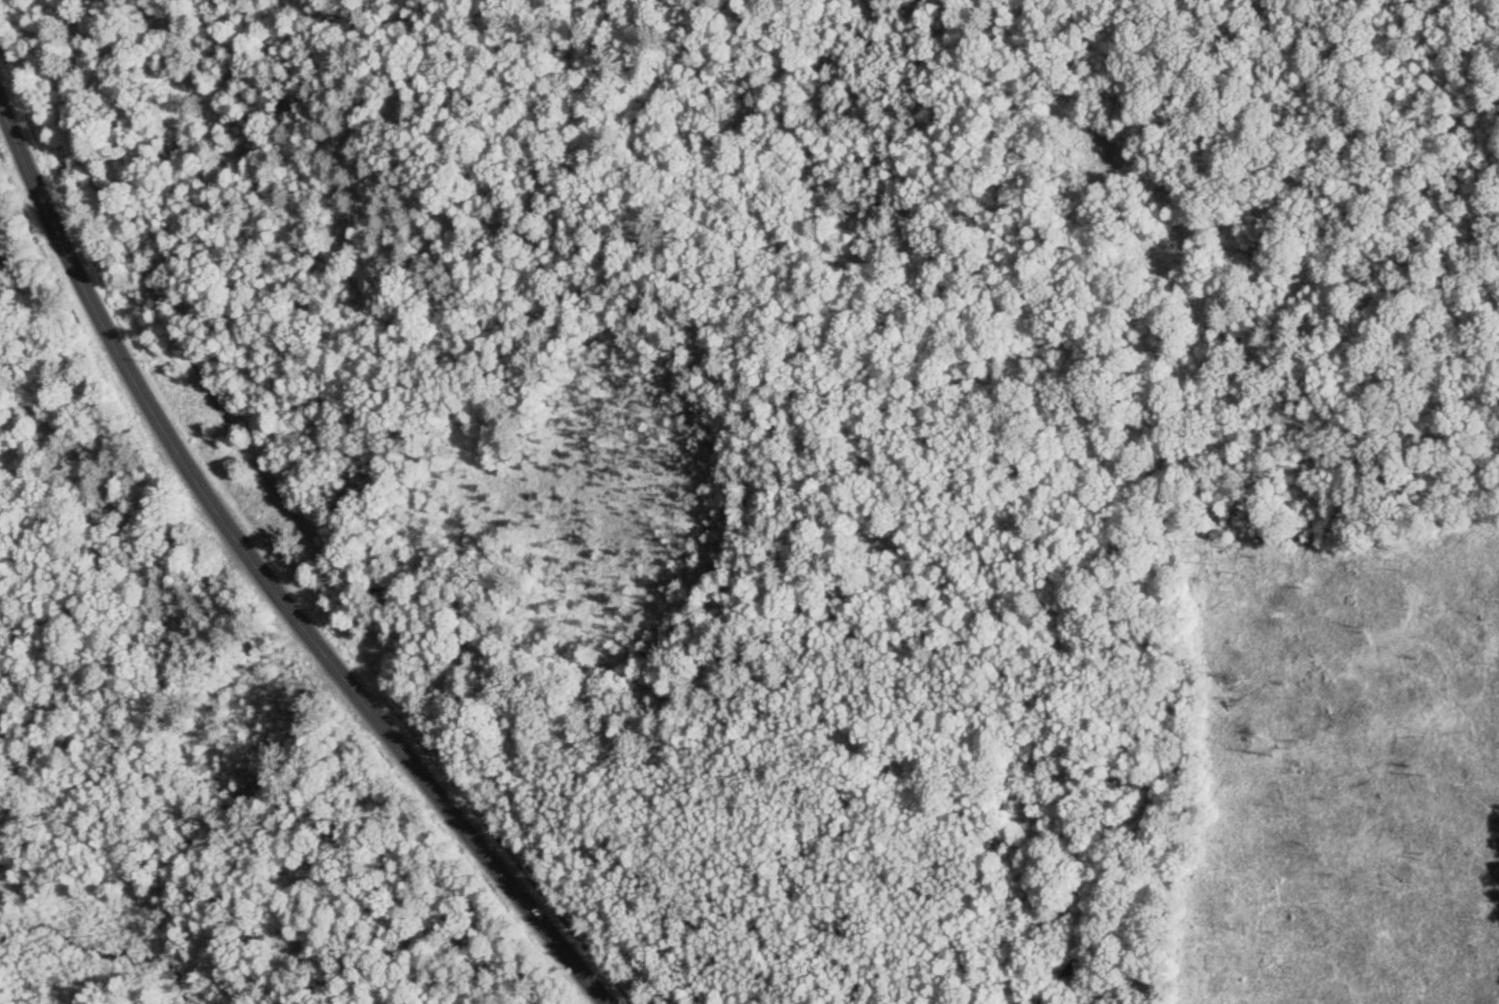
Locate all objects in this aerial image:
road: (261, 573)

